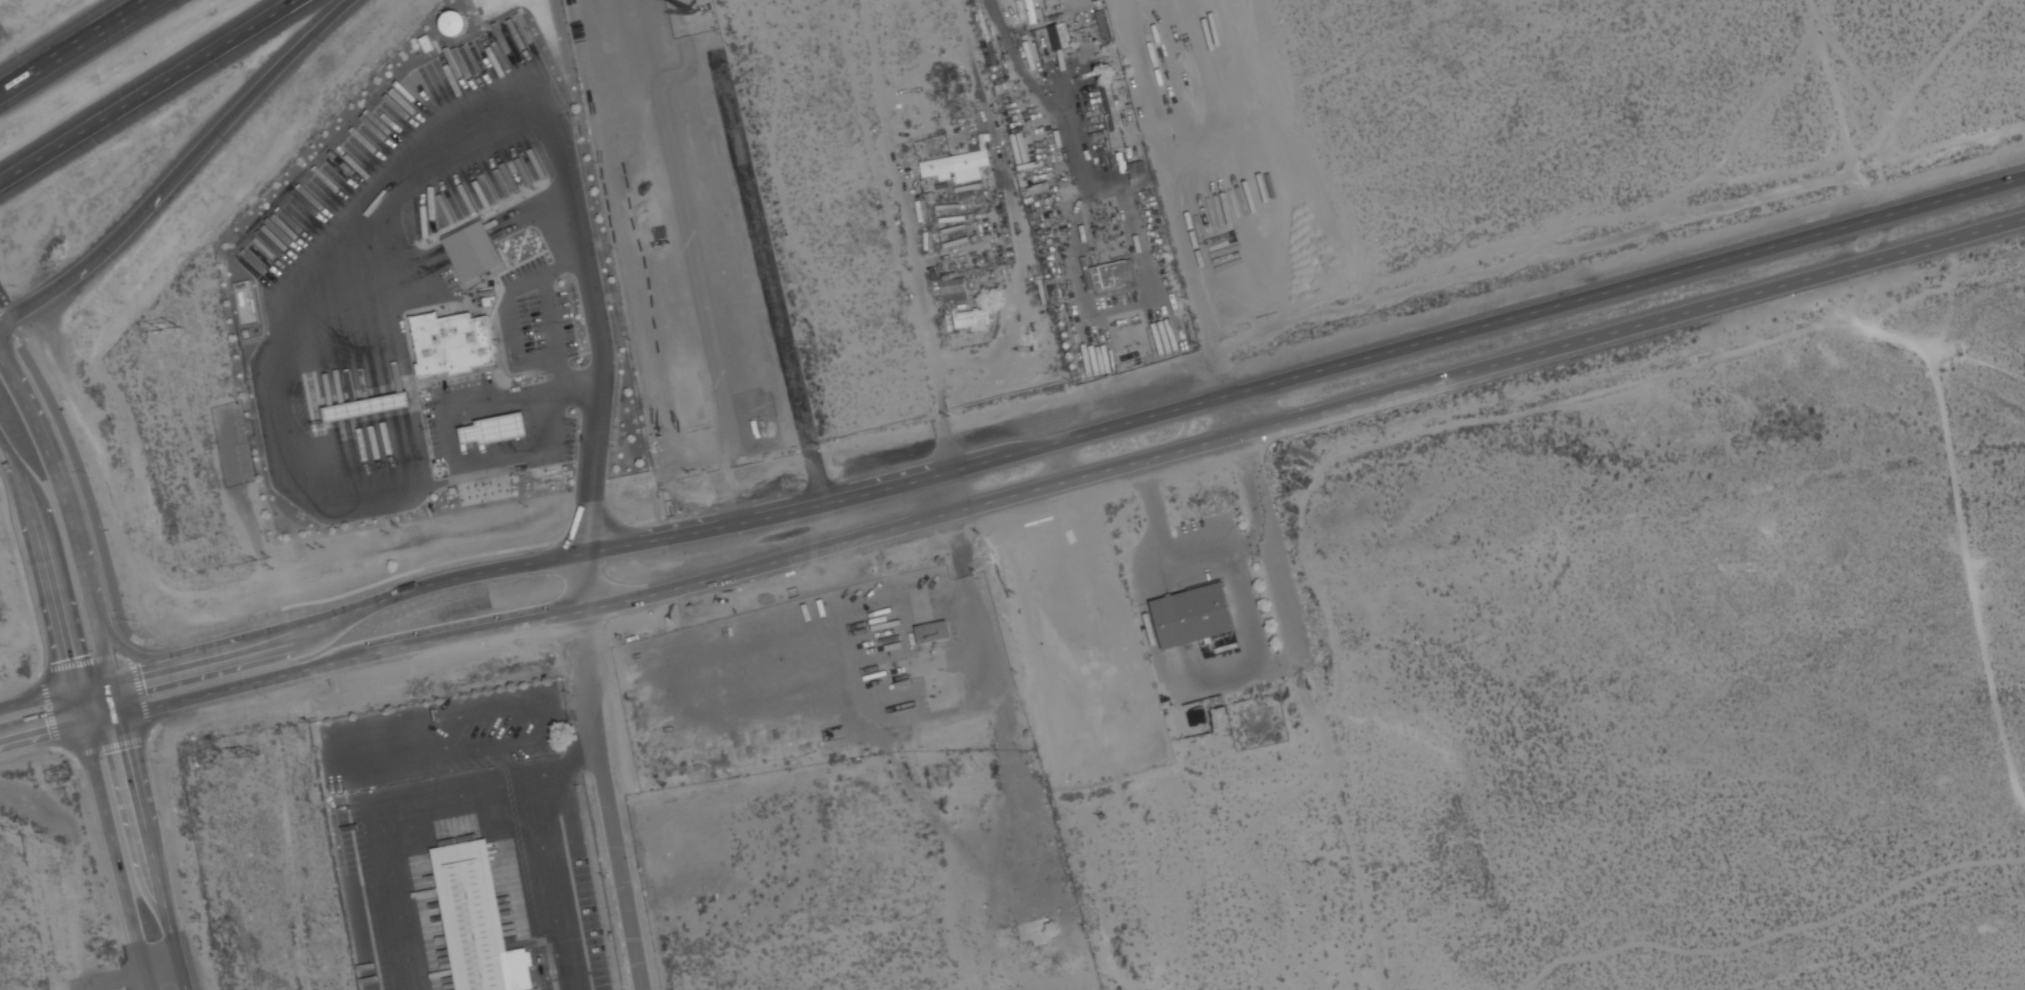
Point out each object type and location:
building: (1108, 17)
building: (448, 22)
storage tank: (448, 22)
building: (1066, 28)
street lamp: (326, 43)
road: (72, 44)
street lamp: (23, 49)
street lamp: (226, 69)
road: (261, 86)
road: (149, 91)
road: (1036, 93)
building: (1114, 99)
street lamp: (231, 142)
street lamp: (104, 144)
building: (956, 164)
road: (1182, 198)
building: (470, 252)
road: (97, 257)
street lamp: (122, 260)
building: (954, 290)
road: (1013, 295)
road: (552, 310)
road: (926, 319)
building: (973, 321)
road: (2, 322)
road: (7, 324)
power tower: (173, 331)
street lamp: (23, 336)
building: (450, 348)
road: (561, 364)
road: (584, 382)
building: (364, 400)
building: (365, 408)
gas station: (365, 408)
building: (783, 419)
building: (492, 429)
gas station: (492, 429)
road: (1053, 444)
road: (593, 466)
street lamp: (89, 474)
road: (1057, 484)
road: (60, 485)
road: (951, 492)
street lamp: (2, 500)
road: (592, 533)
road: (45, 563)
road: (1283, 581)
road: (24, 584)
building: (1197, 615)
street lamp: (258, 619)
street lamp: (130, 620)
building: (930, 622)
road: (179, 636)
street lamp: (38, 651)
road: (103, 653)
road: (137, 655)
road: (87, 661)
road: (142, 690)
building: (947, 690)
street lamp: (267, 697)
road: (115, 699)
road: (38, 700)
road: (80, 707)
road: (49, 710)
road: (42, 734)
road: (151, 735)
road: (111, 747)
road: (67, 753)
power tower: (254, 754)
street lamp: (161, 763)
road: (598, 773)
street lamp: (83, 786)
road: (154, 852)
road: (117, 857)
building: (473, 916)

